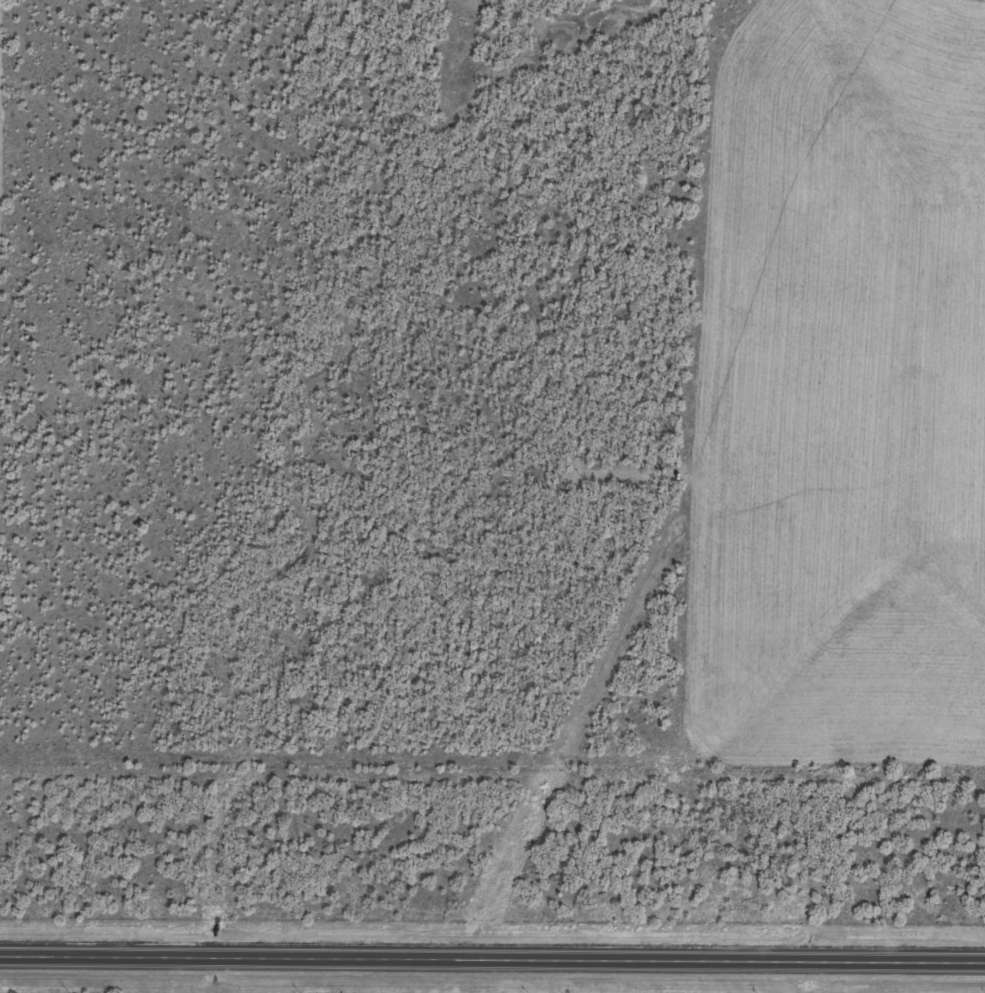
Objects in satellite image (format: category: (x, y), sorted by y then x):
road: (492, 959)

